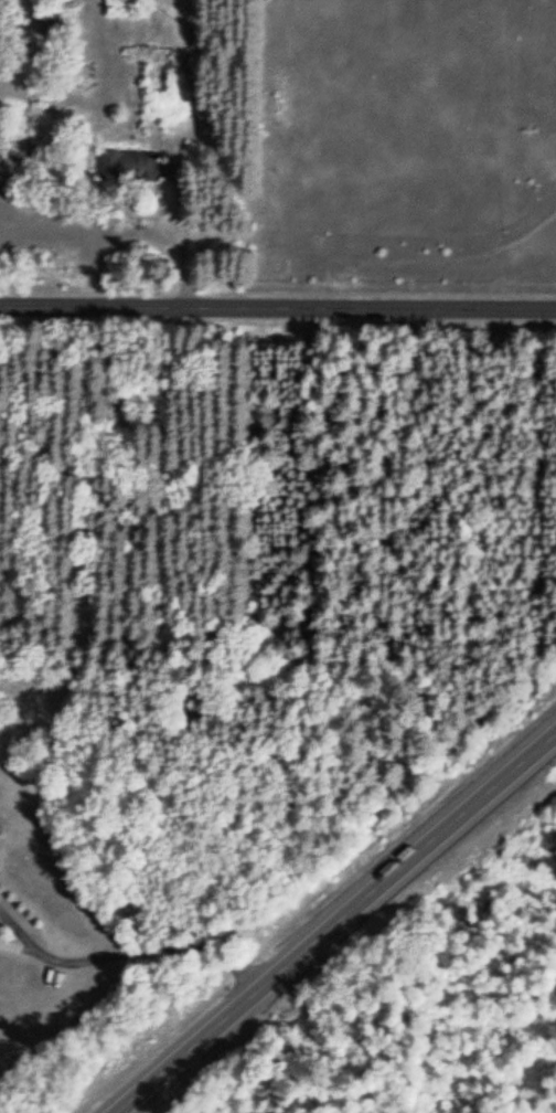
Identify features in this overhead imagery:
building: (125, 4)
building: (127, 168)
road: (278, 307)
road: (335, 923)

